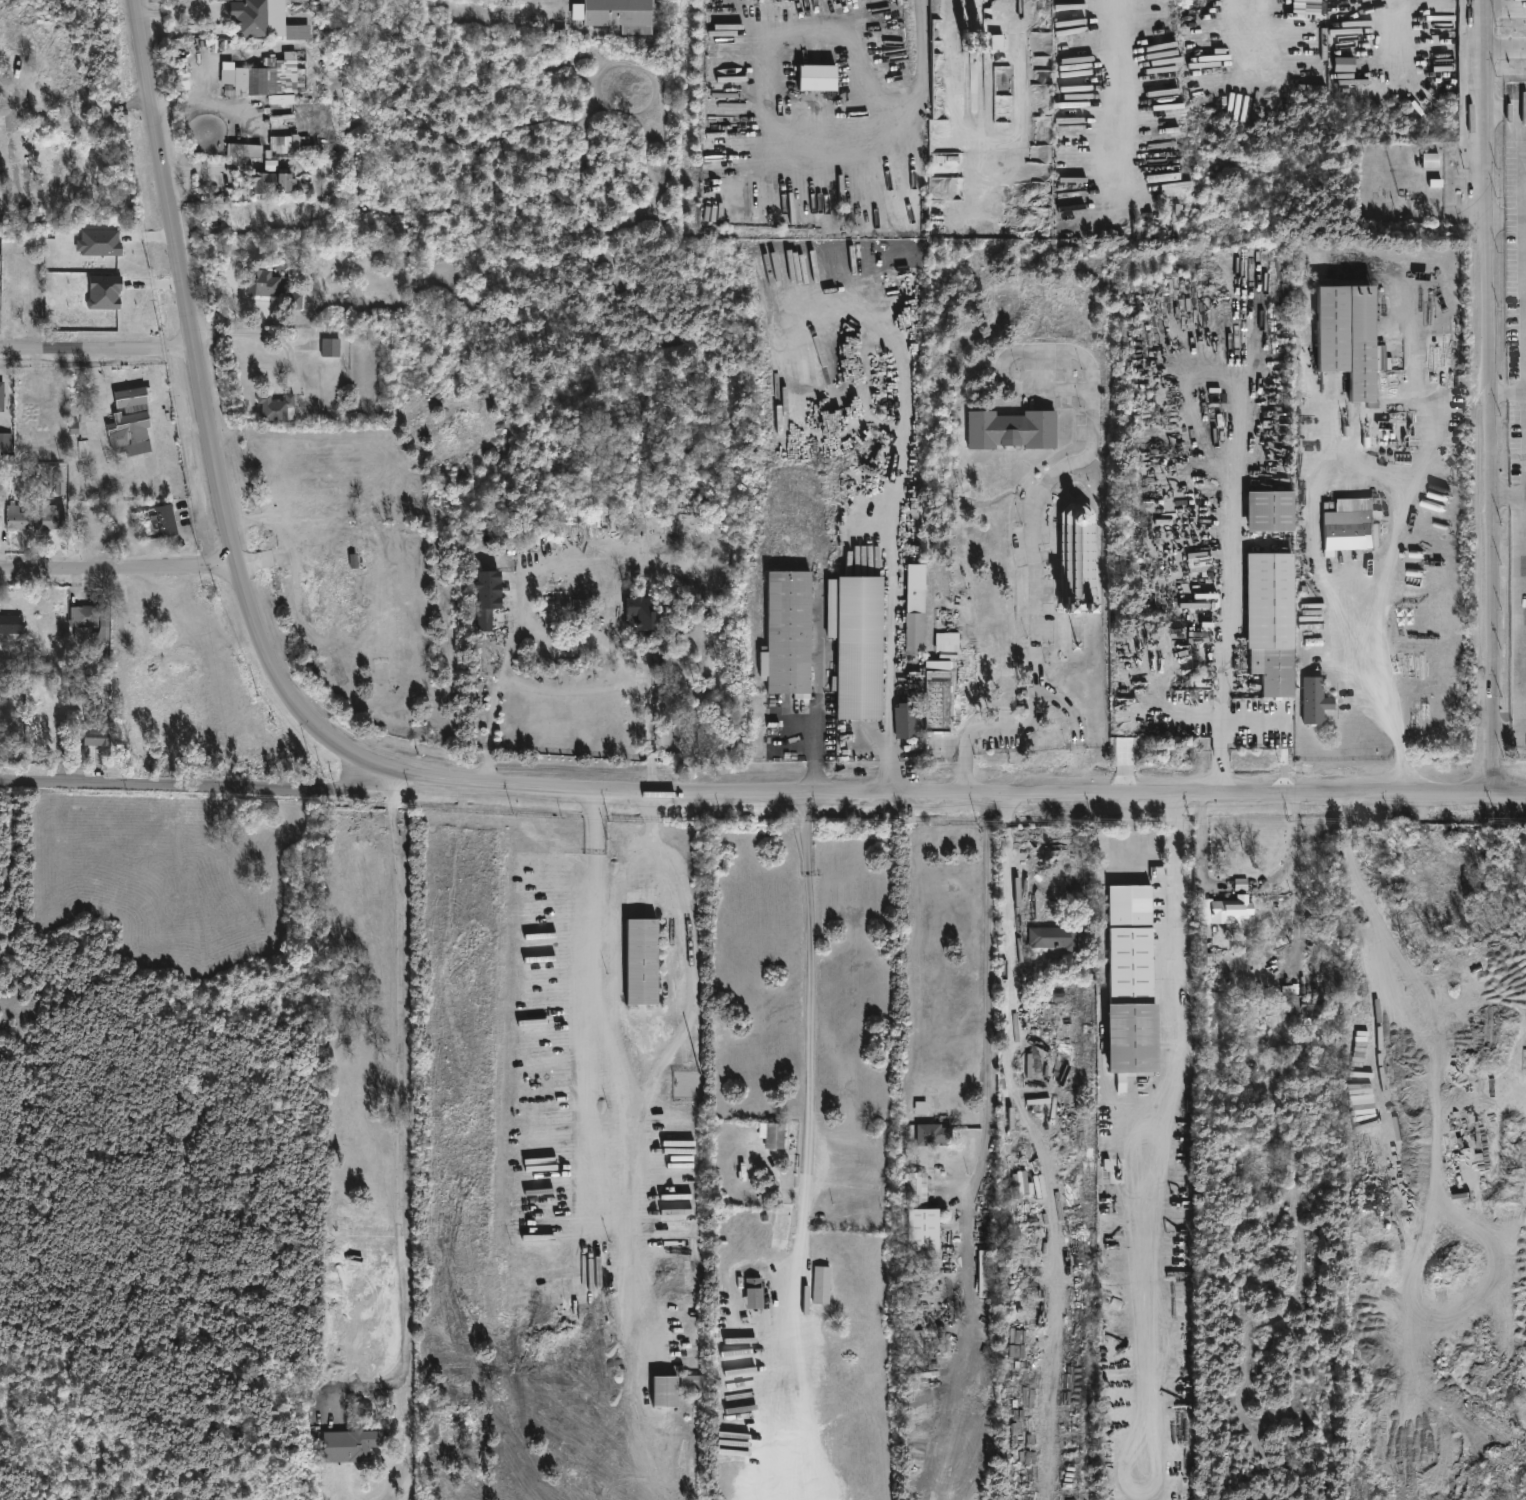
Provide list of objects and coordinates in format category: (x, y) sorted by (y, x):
building: (623, 14)
building: (249, 18)
road: (1388, 30)
road: (1509, 46)
building: (1344, 64)
building: (817, 77)
building: (260, 82)
road: (950, 96)
road: (12, 98)
road: (1510, 111)
road: (10, 112)
road: (86, 128)
building: (1430, 159)
building: (271, 164)
building: (276, 181)
road: (1509, 218)
building: (99, 242)
building: (267, 283)
building: (104, 292)
building: (296, 300)
road: (255, 334)
building: (1355, 338)
building: (332, 346)
road: (94, 351)
road: (1509, 393)
building: (136, 396)
road: (1493, 396)
building: (2, 398)
building: (278, 407)
road: (202, 419)
building: (139, 420)
building: (1015, 429)
building: (6, 442)
building: (60, 487)
building: (1164, 495)
road: (1509, 496)
building: (1269, 510)
road: (1314, 510)
building: (17, 516)
building: (52, 516)
building: (1167, 517)
building: (167, 520)
building: (1346, 525)
building: (1153, 540)
building: (1082, 553)
road: (1035, 560)
road: (116, 570)
road: (1233, 576)
building: (491, 593)
road: (1377, 600)
building: (917, 607)
building: (648, 611)
building: (1269, 616)
building: (89, 618)
building: (11, 622)
building: (793, 628)
building: (949, 640)
building: (862, 644)
road: (627, 684)
road: (892, 686)
building: (940, 693)
building: (913, 697)
building: (1317, 698)
road: (1220, 728)
building: (98, 730)
road: (1510, 730)
road: (490, 737)
building: (651, 752)
road: (817, 752)
road: (187, 787)
road: (958, 795)
road: (1128, 832)
road: (592, 846)
building: (1241, 883)
building: (1227, 909)
road: (1017, 931)
building: (1053, 935)
building: (639, 962)
building: (1129, 980)
road: (1170, 982)
road: (987, 988)
building: (1308, 1005)
road: (677, 1029)
road: (403, 1073)
building: (1257, 1084)
building: (921, 1106)
building: (940, 1133)
building: (774, 1134)
road: (1434, 1136)
road: (811, 1148)
building: (924, 1218)
road: (629, 1221)
building: (785, 1224)
building: (1434, 1266)
building: (694, 1273)
building: (986, 1273)
building: (823, 1284)
building: (756, 1293)
building: (561, 1331)
building: (918, 1341)
road: (399, 1364)
building: (694, 1383)
building: (668, 1392)
building: (466, 1423)
road: (333, 1434)
building: (360, 1443)
building: (478, 1468)
building: (578, 1471)

